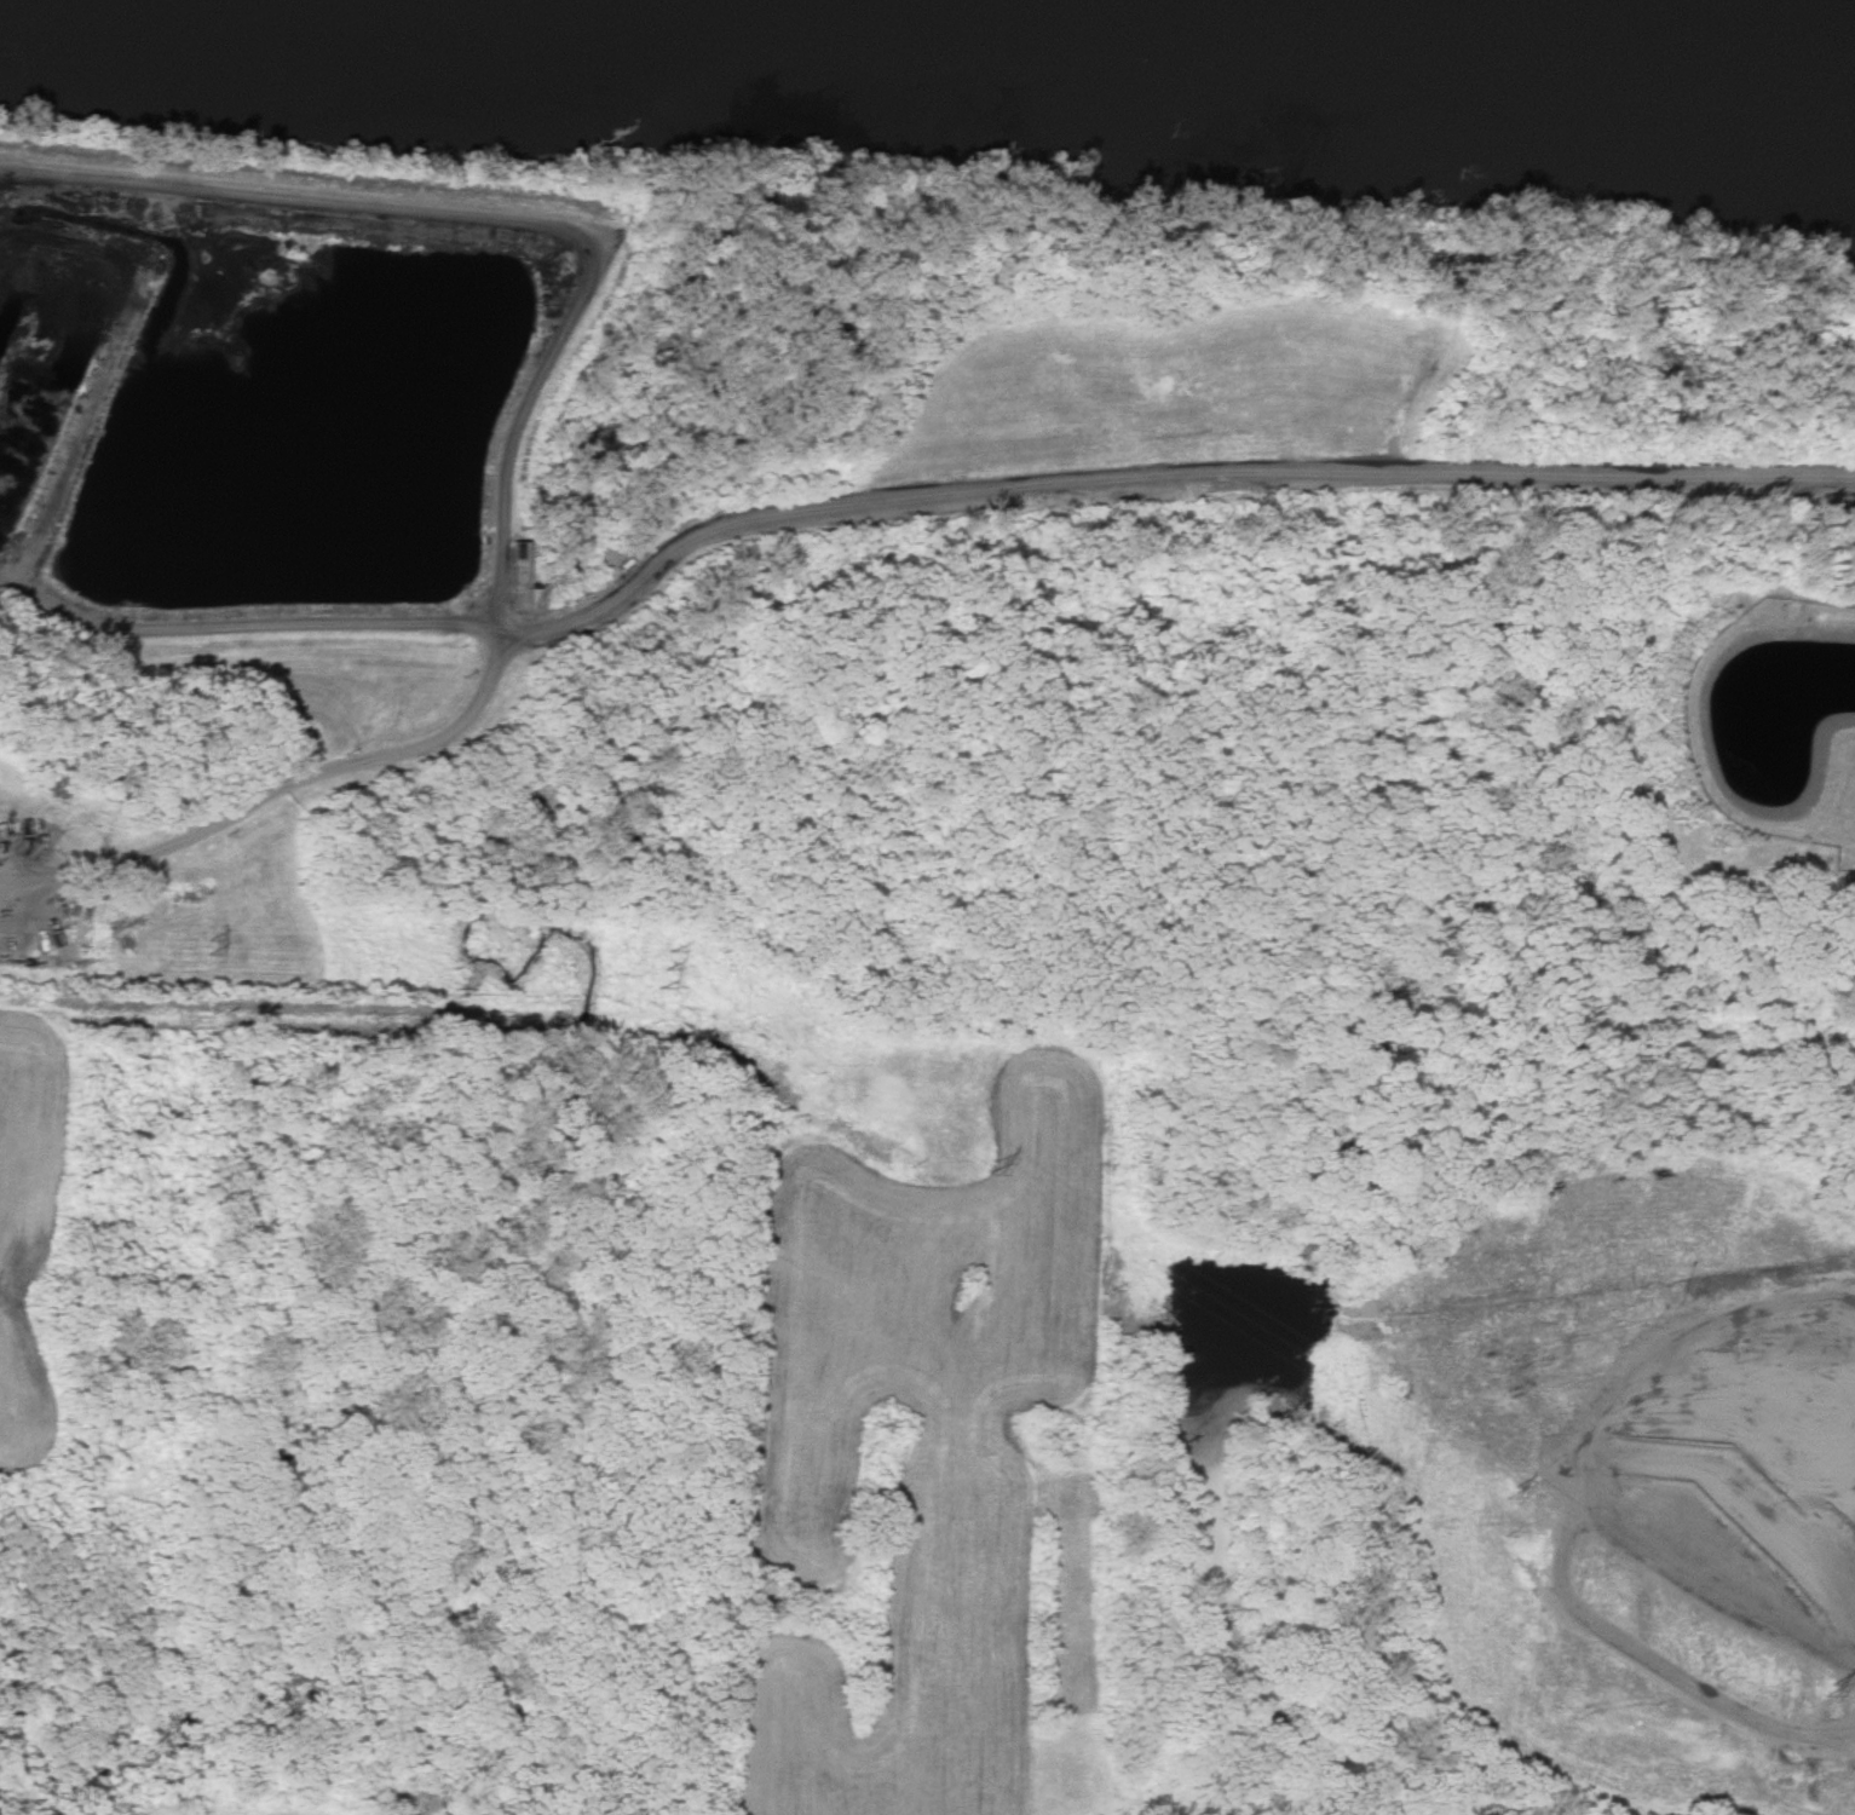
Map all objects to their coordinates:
road: (490, 227)
road: (1157, 494)
road: (1839, 616)
road: (238, 634)
road: (284, 801)
power tower: (202, 969)
power tower: (656, 1004)
power tower: (989, 1192)
crop: (34, 1220)
crop: (899, 1411)
crop: (1628, 1497)
power tower: (1513, 1505)
power tower: (1827, 1699)

